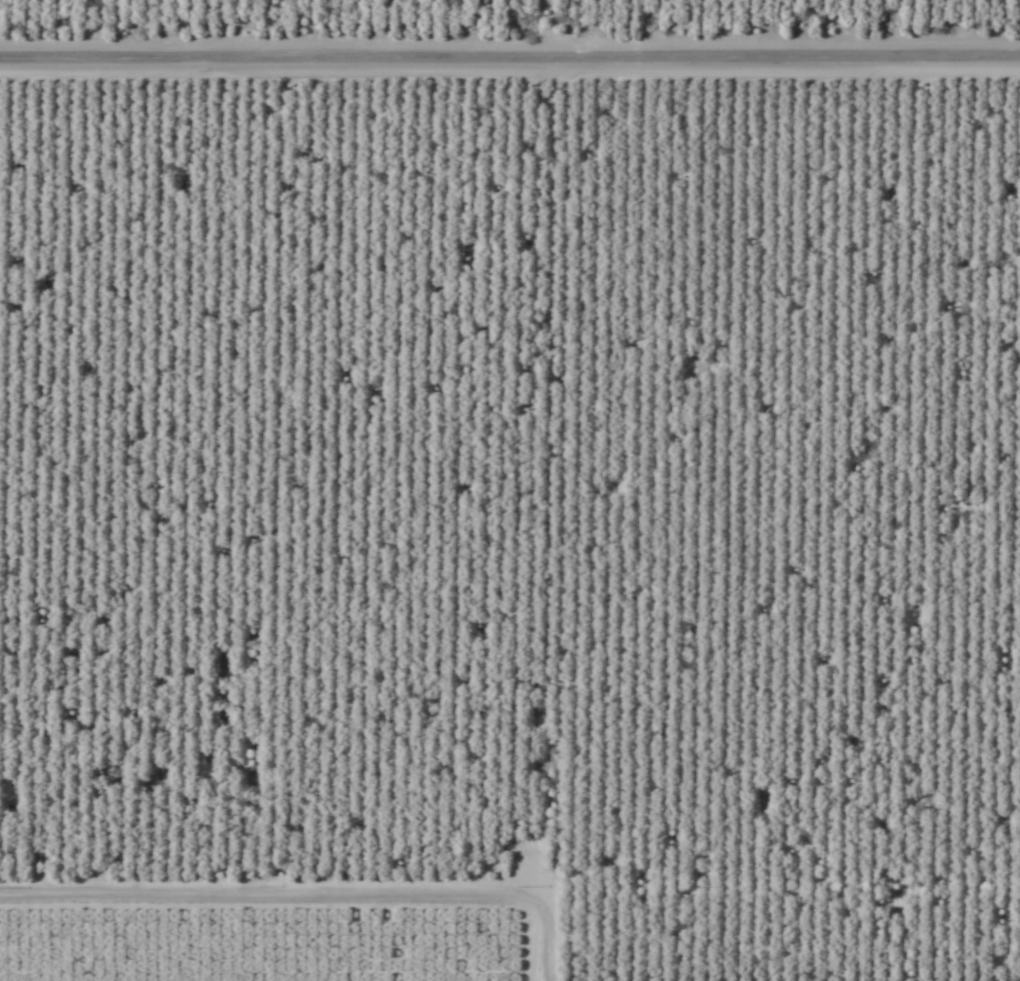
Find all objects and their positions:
road: (510, 59)
crop: (510, 490)

